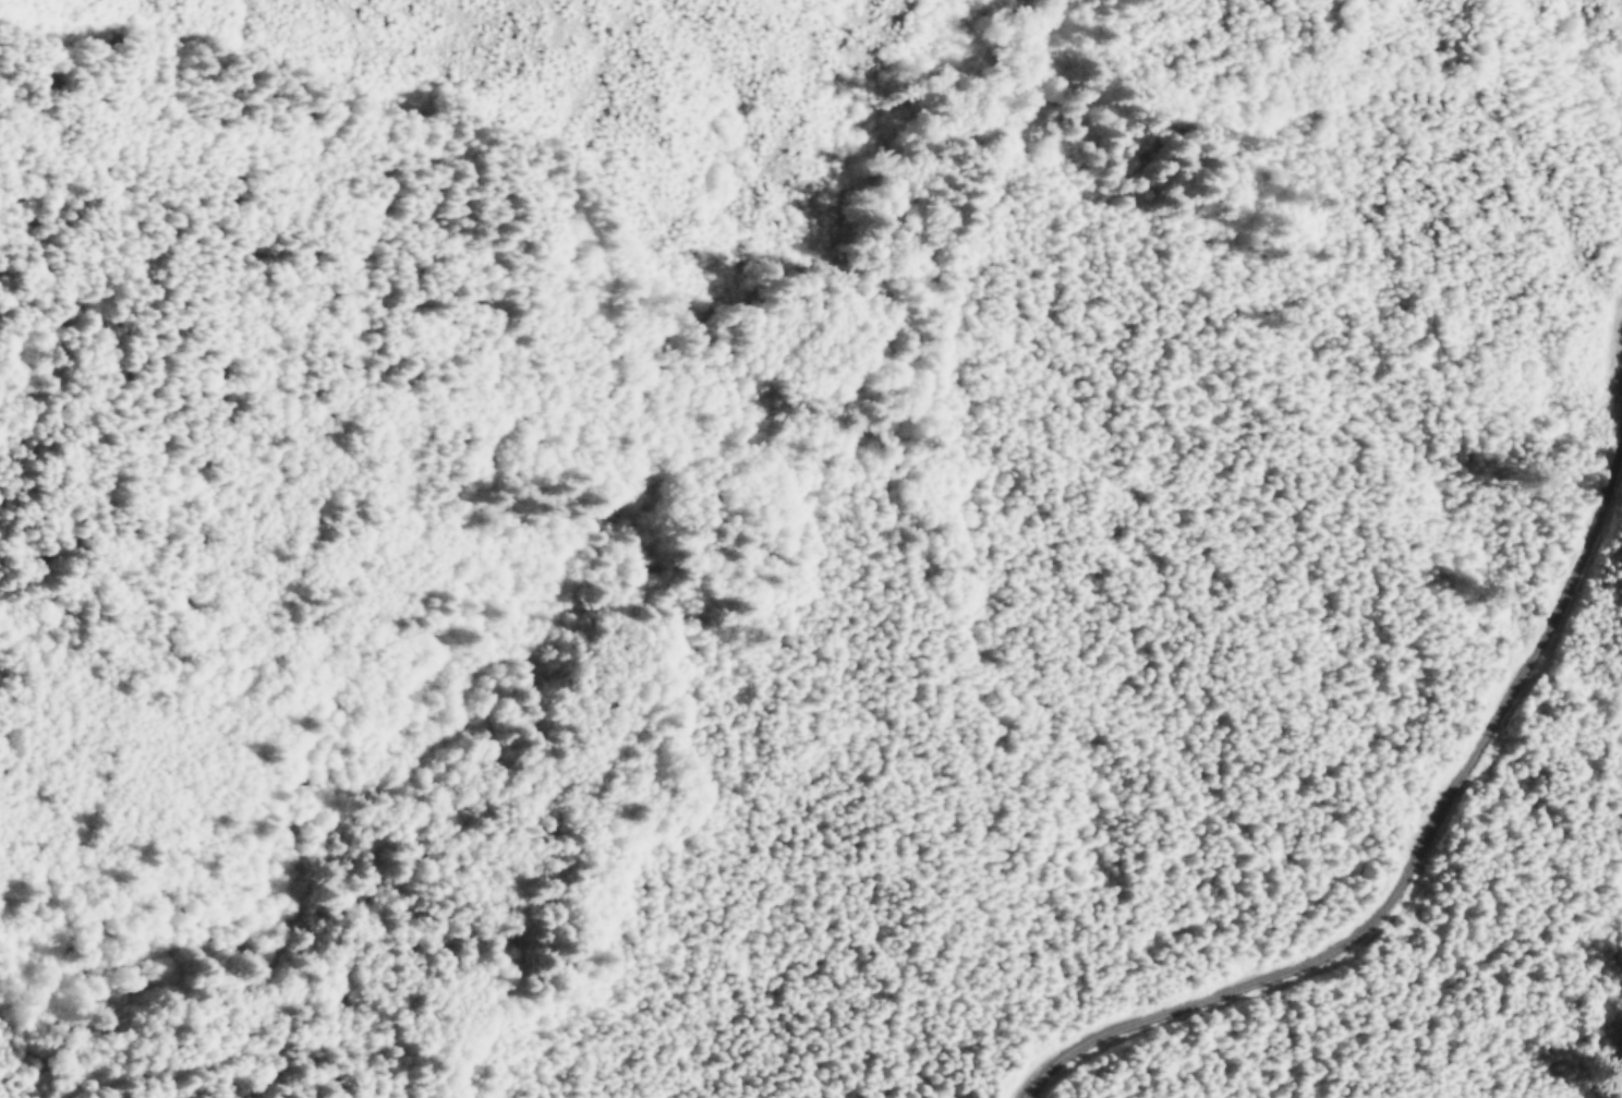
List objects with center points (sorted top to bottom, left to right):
road: (1406, 871)

